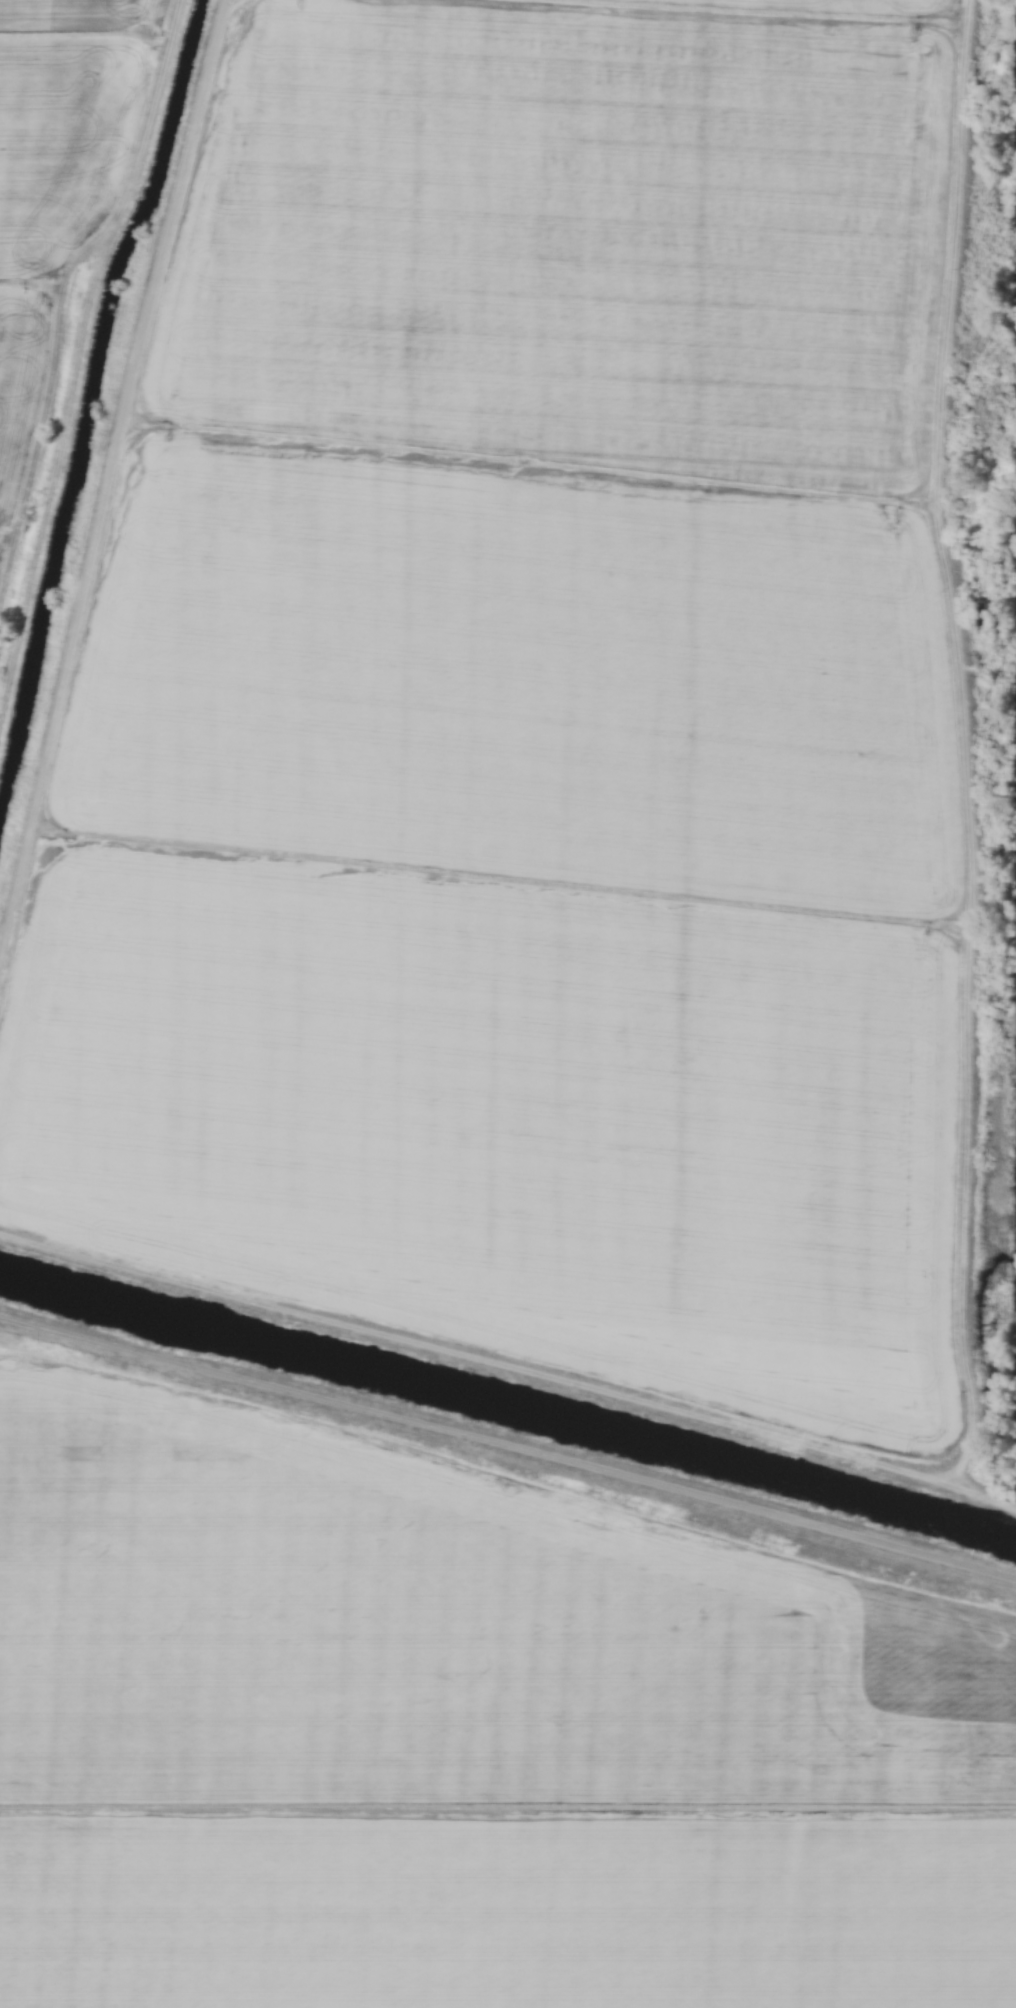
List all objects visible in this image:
road: (102, 436)

